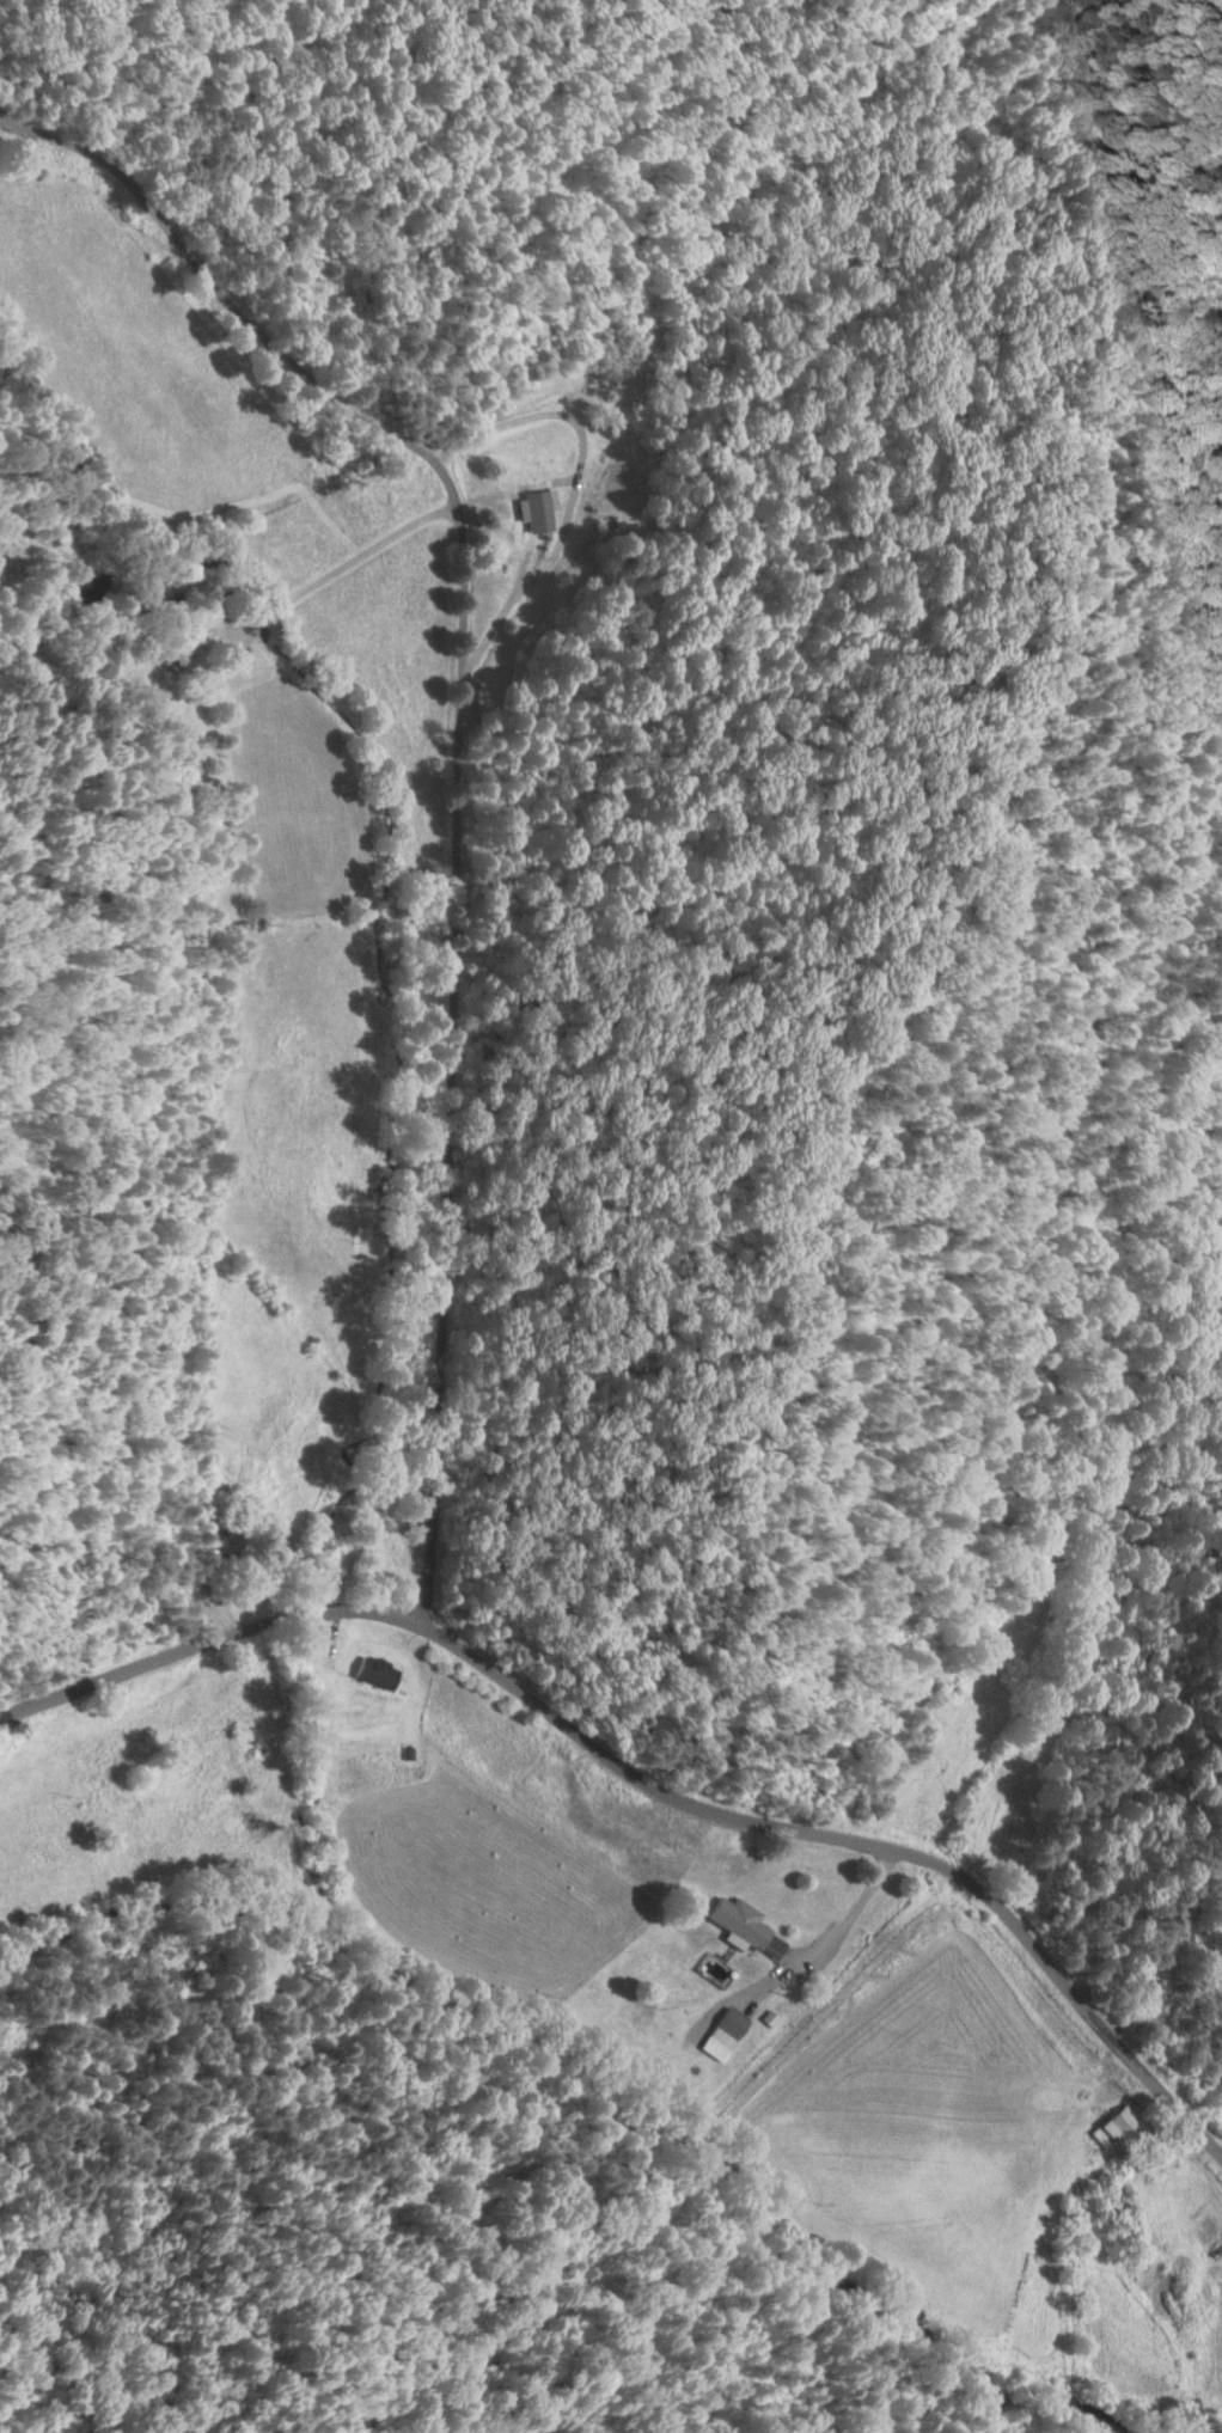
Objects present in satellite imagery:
building: (539, 509)
road: (458, 760)
road: (228, 802)
building: (379, 1673)
road: (648, 1780)
building: (744, 1922)
building: (733, 2030)
building: (1117, 2127)

